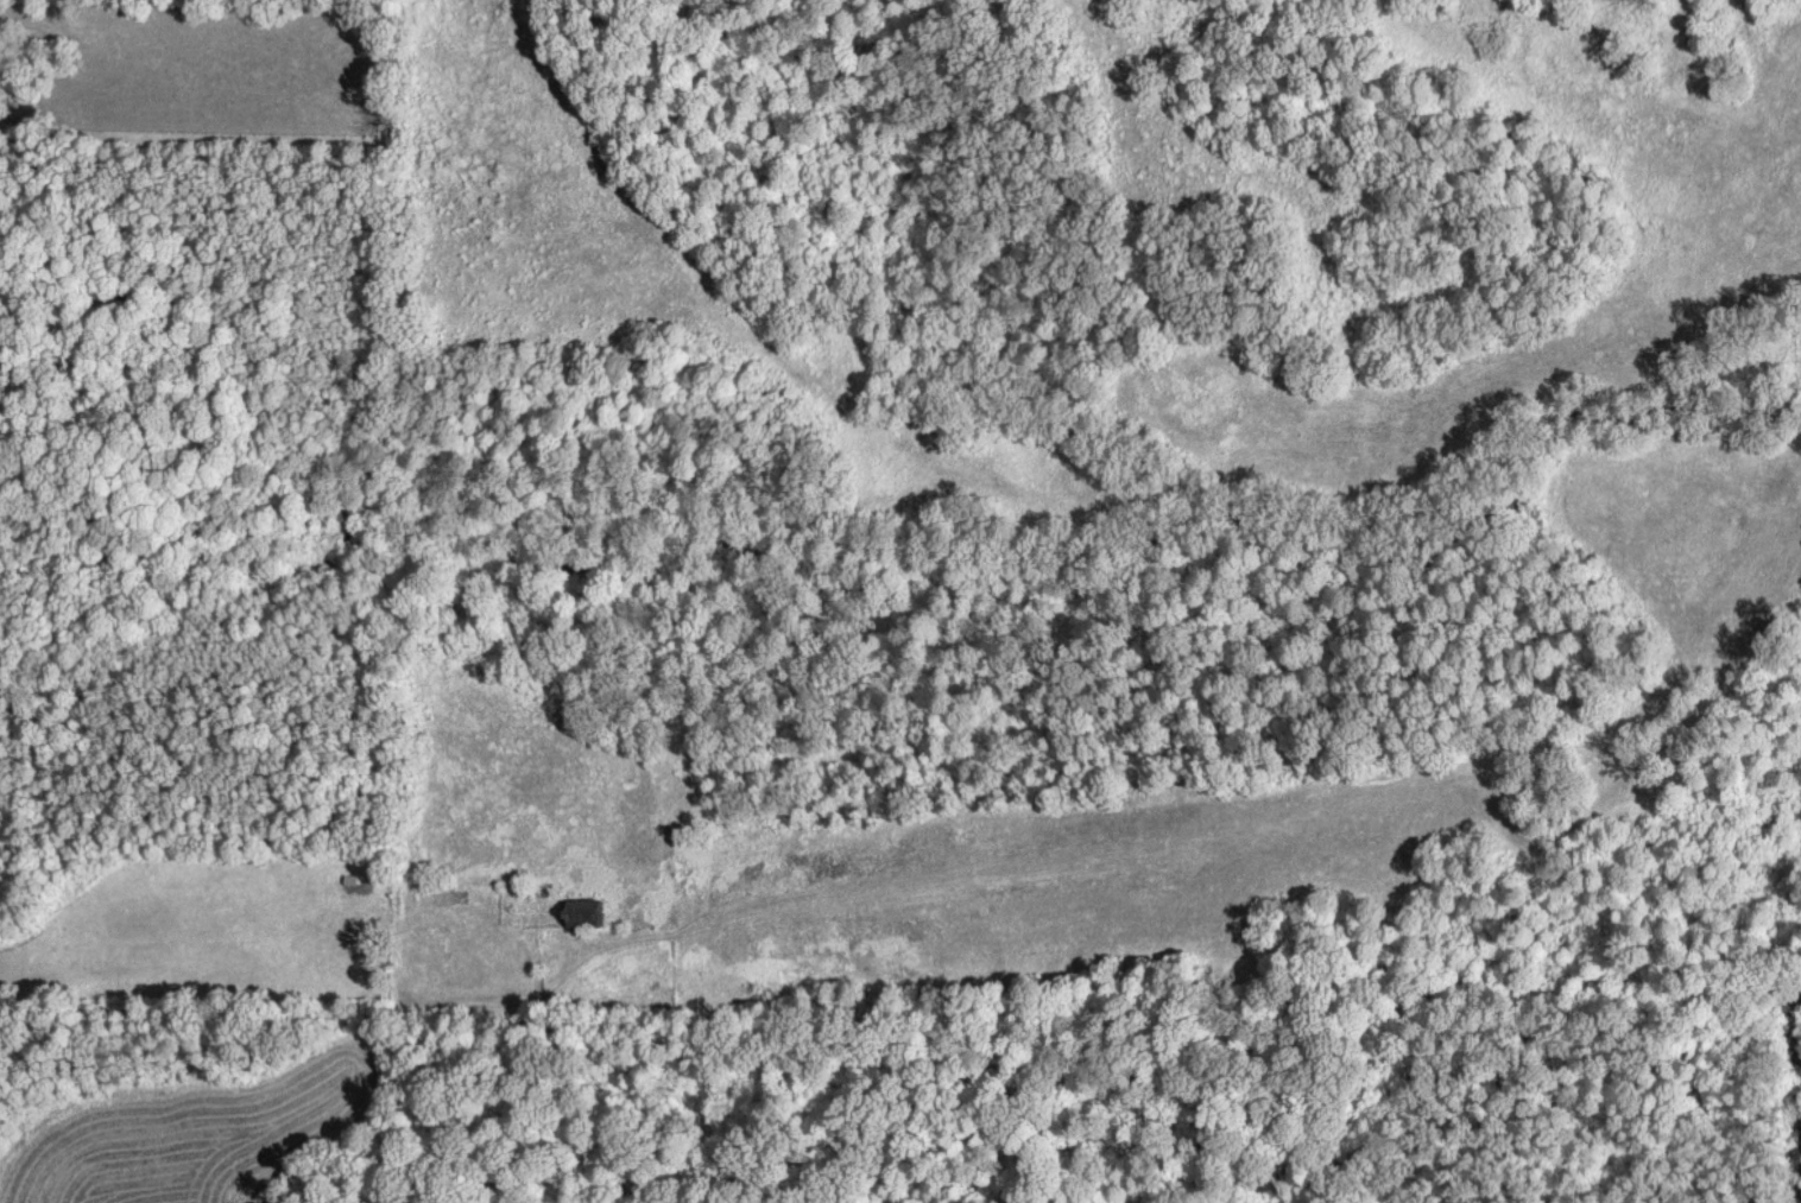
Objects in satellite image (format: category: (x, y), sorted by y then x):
building: (415, 948)
building: (507, 952)
road: (238, 1030)

